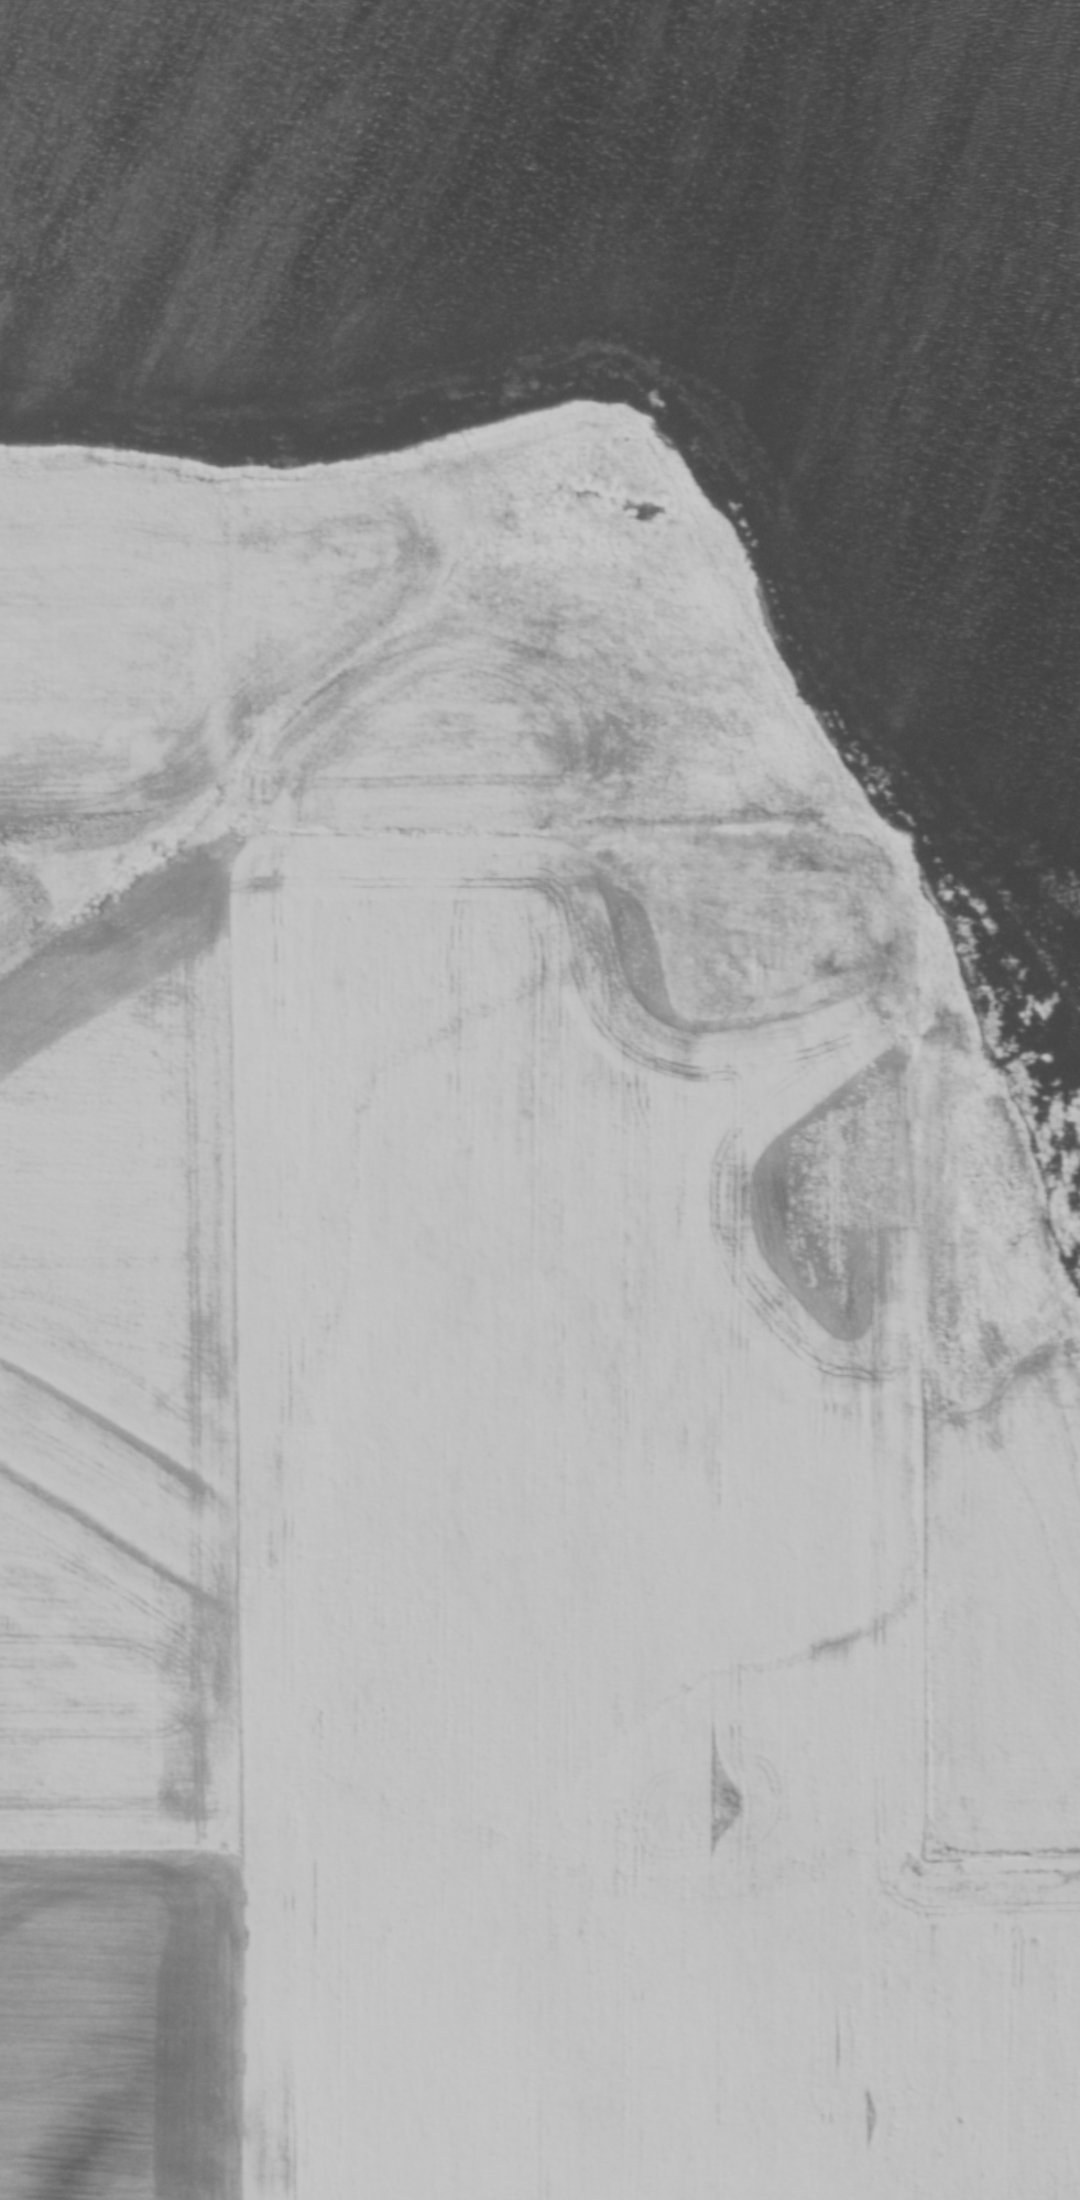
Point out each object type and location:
crop: (122, 2029)

